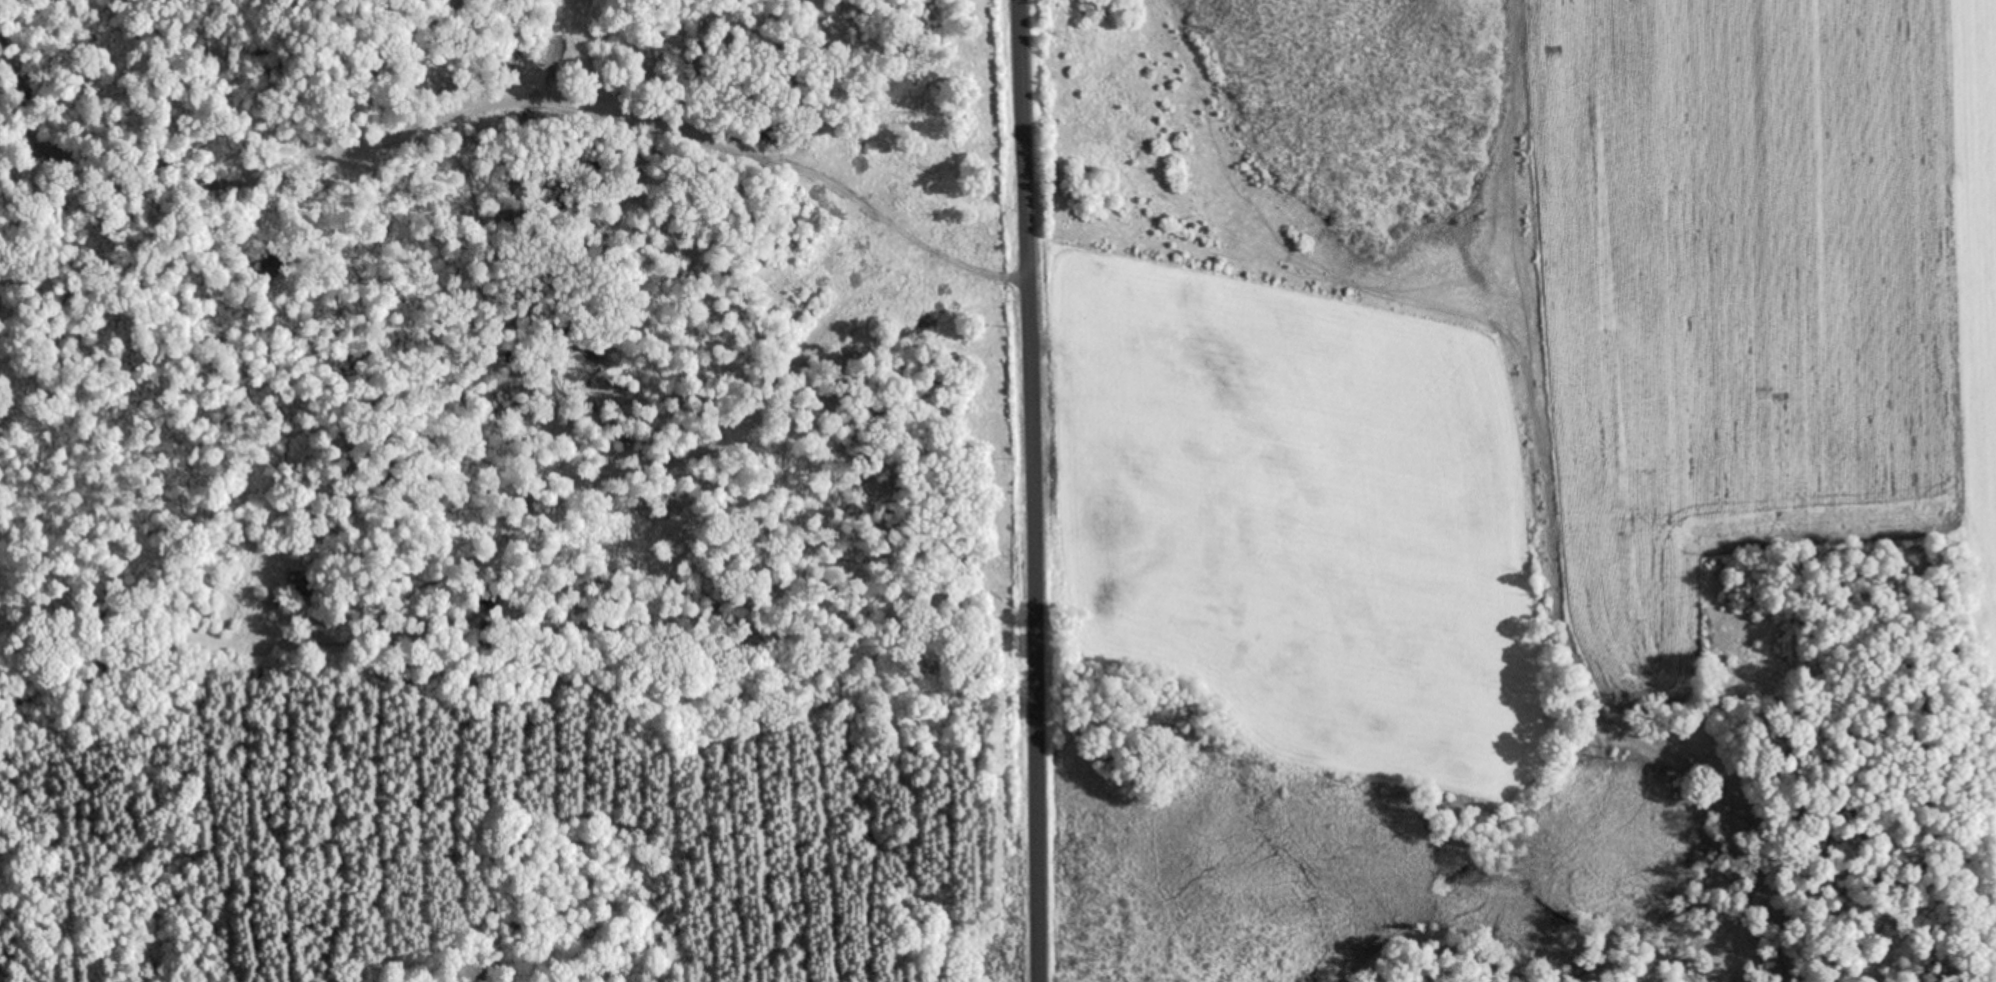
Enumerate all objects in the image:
road: (1035, 491)

